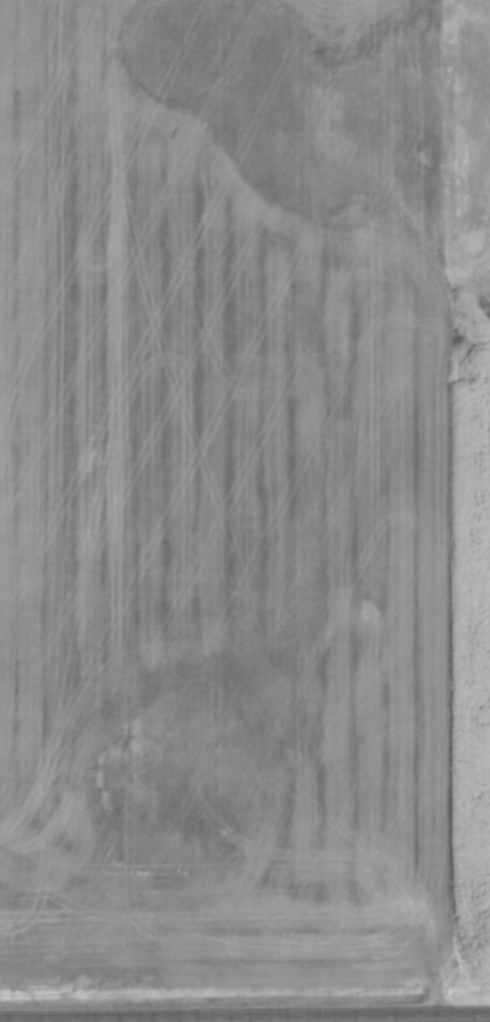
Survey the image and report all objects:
road: (244, 1014)

